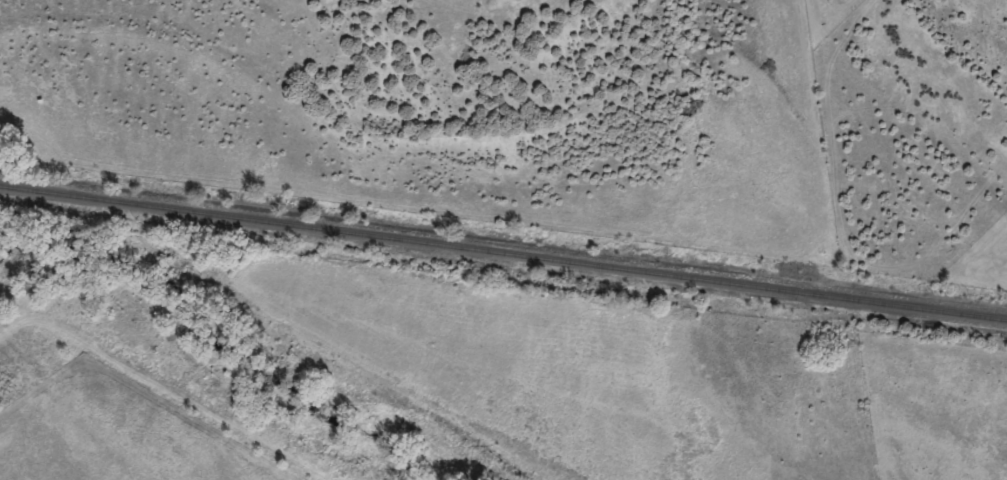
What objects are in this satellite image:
railway: (503, 253)

